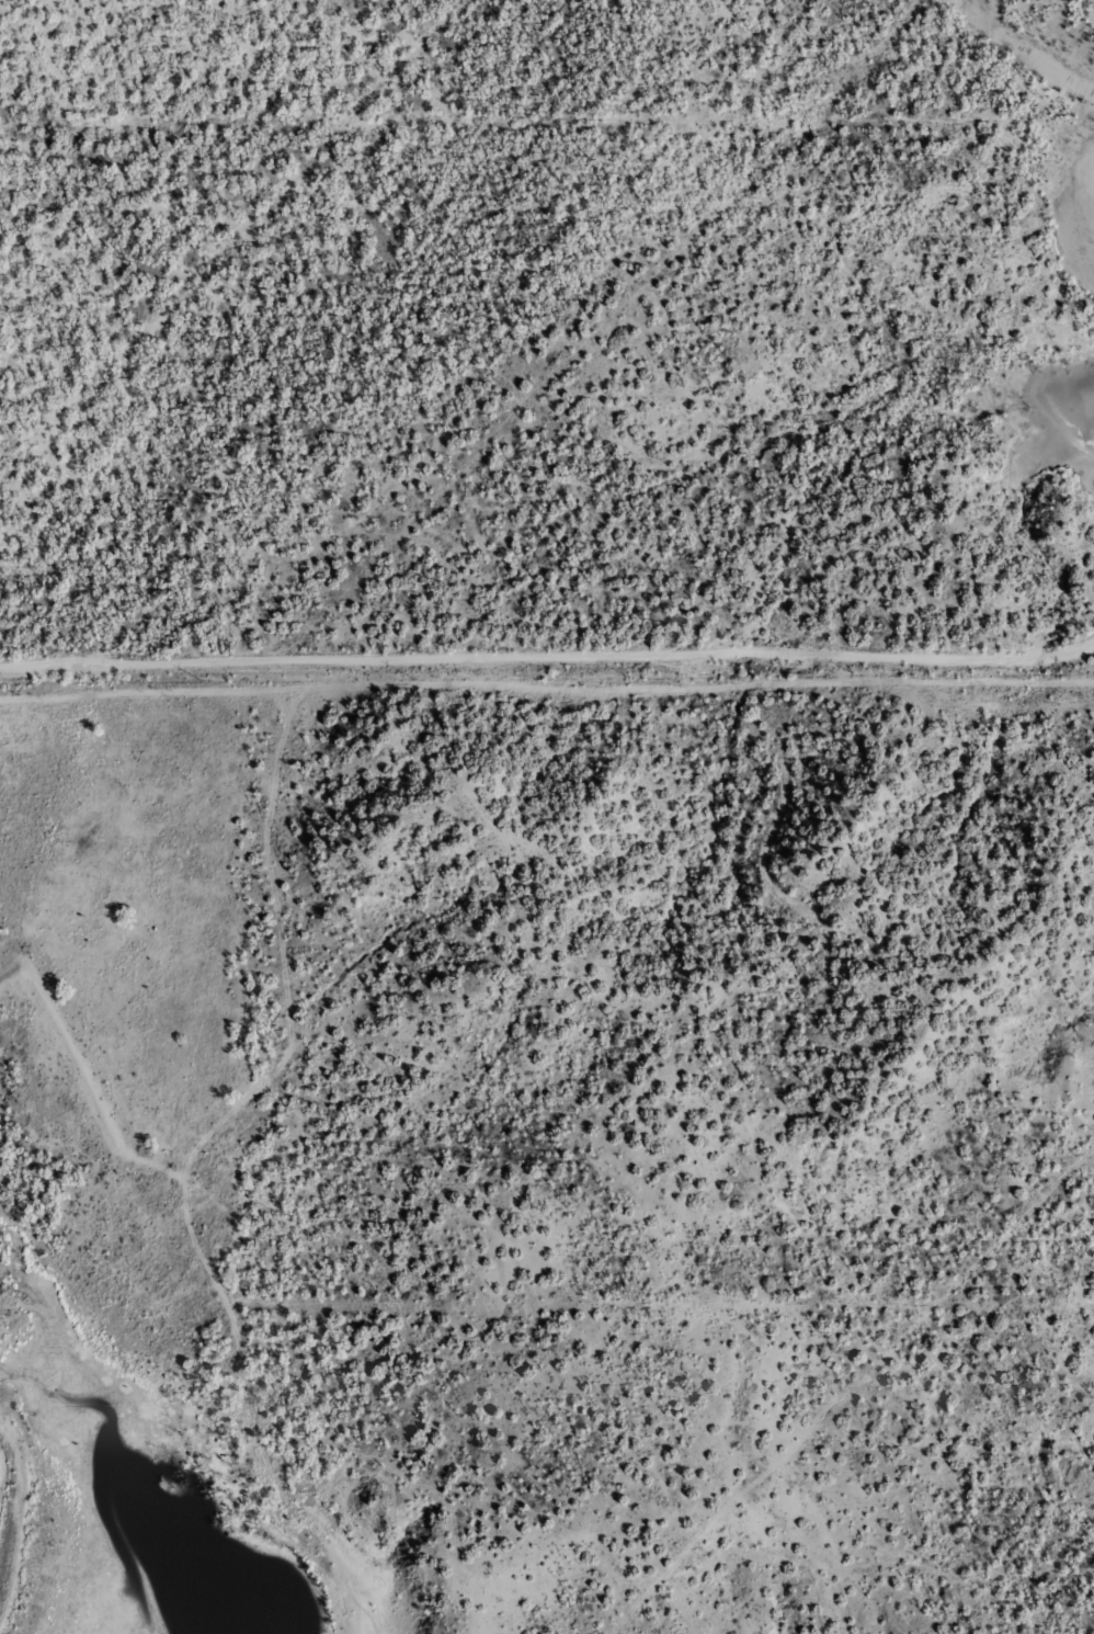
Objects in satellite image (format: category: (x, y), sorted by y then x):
road: (546, 734)

